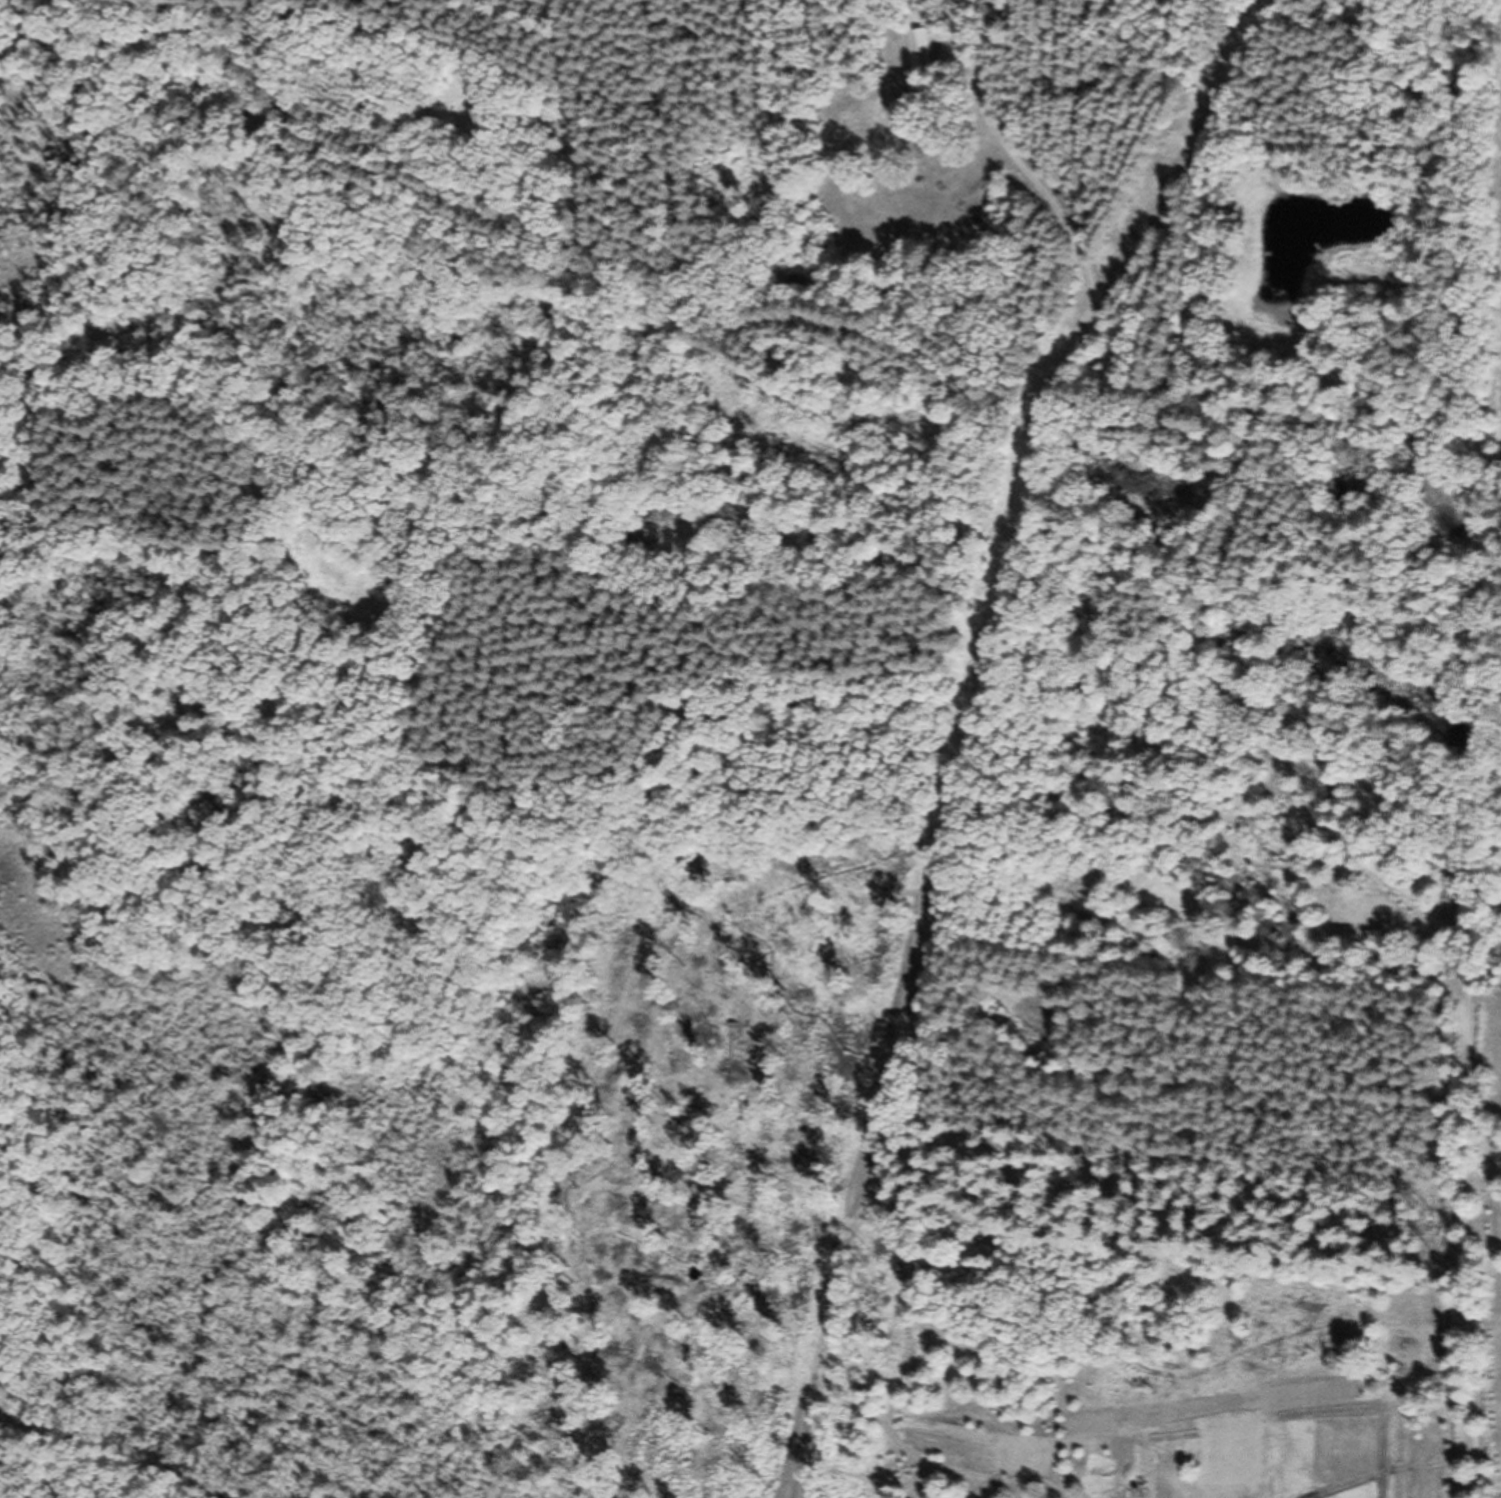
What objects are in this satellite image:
building: (915, 56)
road: (1265, 715)

